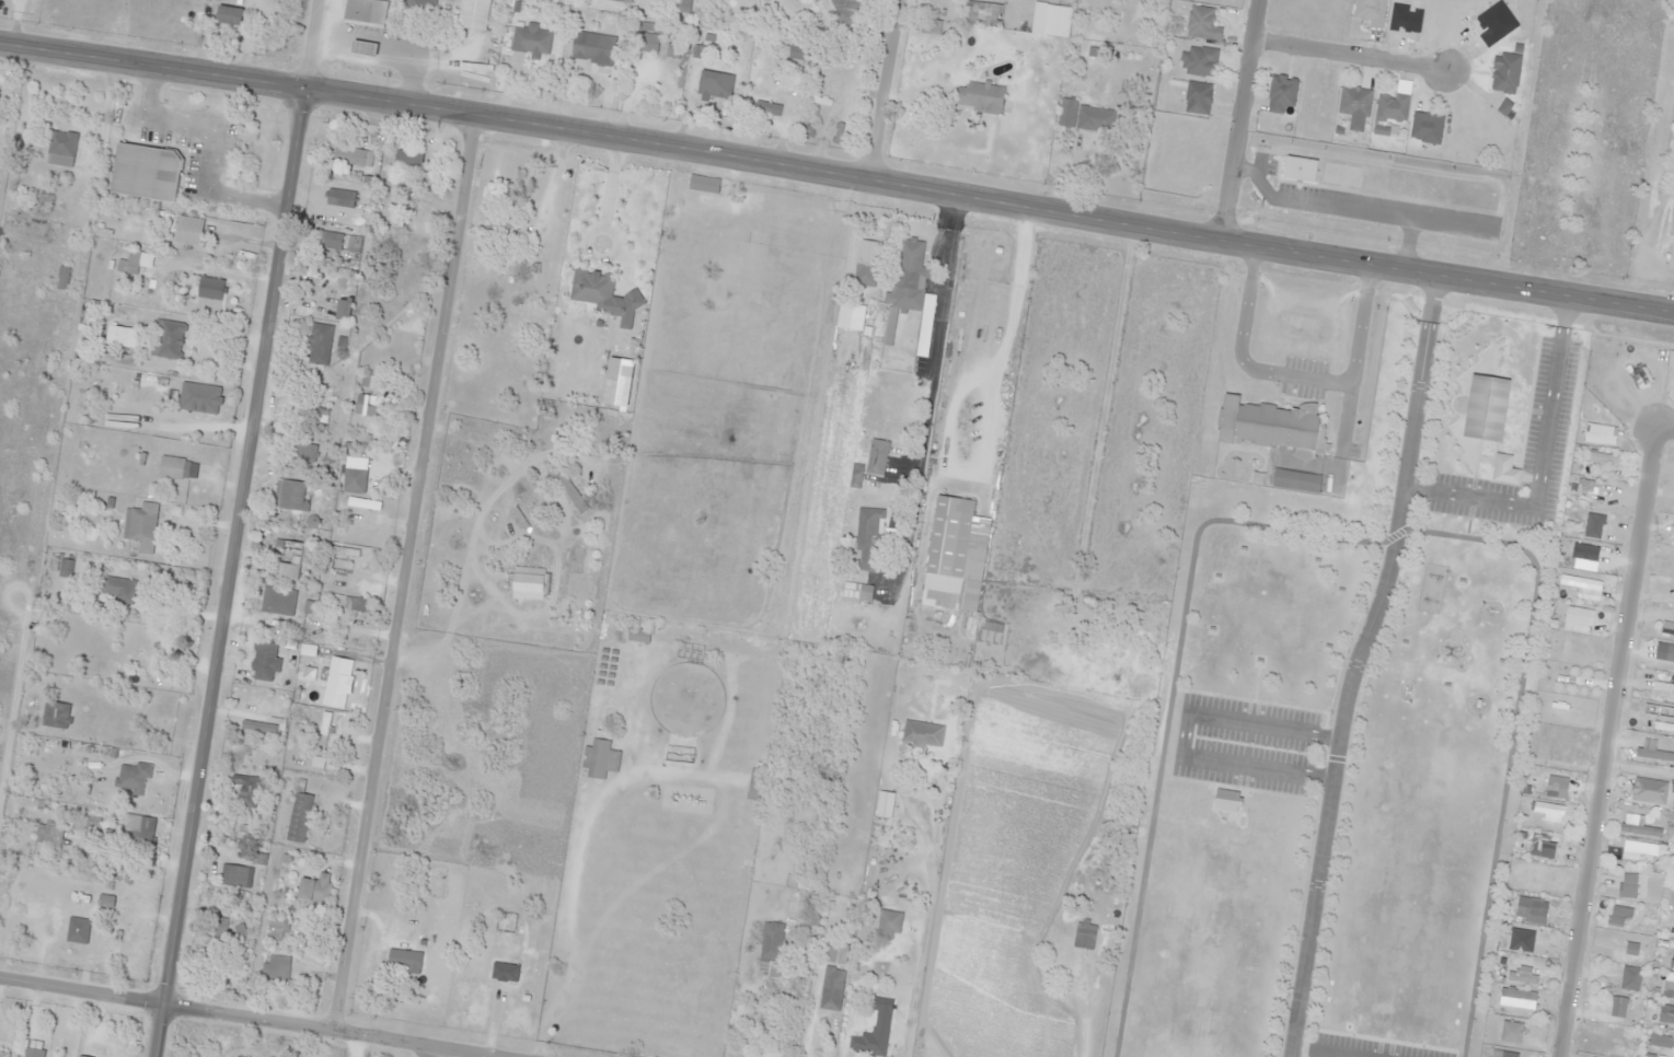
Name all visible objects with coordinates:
building: (619, 0)
building: (680, 4)
building: (417, 9)
building: (843, 10)
building: (363, 11)
building: (1369, 11)
building: (472, 13)
building: (228, 14)
building: (982, 14)
building: (1493, 22)
building: (1200, 23)
building: (528, 39)
building: (645, 42)
road: (318, 44)
building: (591, 47)
road: (1346, 54)
building: (1198, 60)
building: (1504, 71)
building: (714, 83)
road: (880, 89)
building: (984, 94)
building: (1280, 94)
building: (1196, 97)
building: (1353, 101)
building: (1503, 106)
building: (1390, 107)
building: (1085, 116)
road: (1236, 119)
building: (1425, 127)
building: (59, 148)
building: (141, 154)
building: (350, 155)
building: (406, 158)
building: (1300, 167)
road: (836, 174)
building: (702, 184)
building: (112, 186)
building: (339, 197)
building: (184, 198)
building: (411, 204)
building: (497, 226)
building: (184, 230)
building: (597, 233)
building: (973, 239)
building: (338, 242)
building: (995, 243)
building: (138, 260)
building: (864, 269)
building: (904, 283)
building: (205, 288)
building: (342, 309)
building: (165, 338)
building: (318, 344)
building: (616, 382)
building: (201, 395)
building: (1485, 407)
building: (1270, 426)
building: (300, 452)
building: (876, 456)
building: (1501, 461)
building: (176, 467)
building: (353, 474)
building: (1295, 480)
building: (568, 491)
building: (289, 493)
building: (139, 524)
building: (360, 530)
building: (866, 539)
building: (946, 551)
building: (286, 553)
building: (64, 567)
road: (231, 572)
road: (405, 572)
building: (526, 584)
building: (116, 589)
building: (854, 591)
building: (277, 600)
building: (353, 602)
building: (170, 643)
building: (263, 661)
road: (1350, 661)
building: (331, 679)
building: (55, 715)
building: (257, 725)
road: (1607, 732)
building: (921, 734)
building: (130, 778)
building: (246, 790)
building: (884, 804)
building: (297, 817)
building: (138, 827)
building: (232, 875)
building: (313, 888)
building: (34, 890)
building: (104, 899)
building: (76, 929)
building: (276, 929)
building: (219, 930)
building: (1083, 936)
building: (771, 941)
building: (835, 953)
building: (403, 959)
building: (275, 967)
building: (830, 988)
building: (880, 1003)
road: (241, 1017)
building: (868, 1043)
building: (32, 1052)
building: (2, 1053)
road: (429, 1053)
building: (79, 1056)

